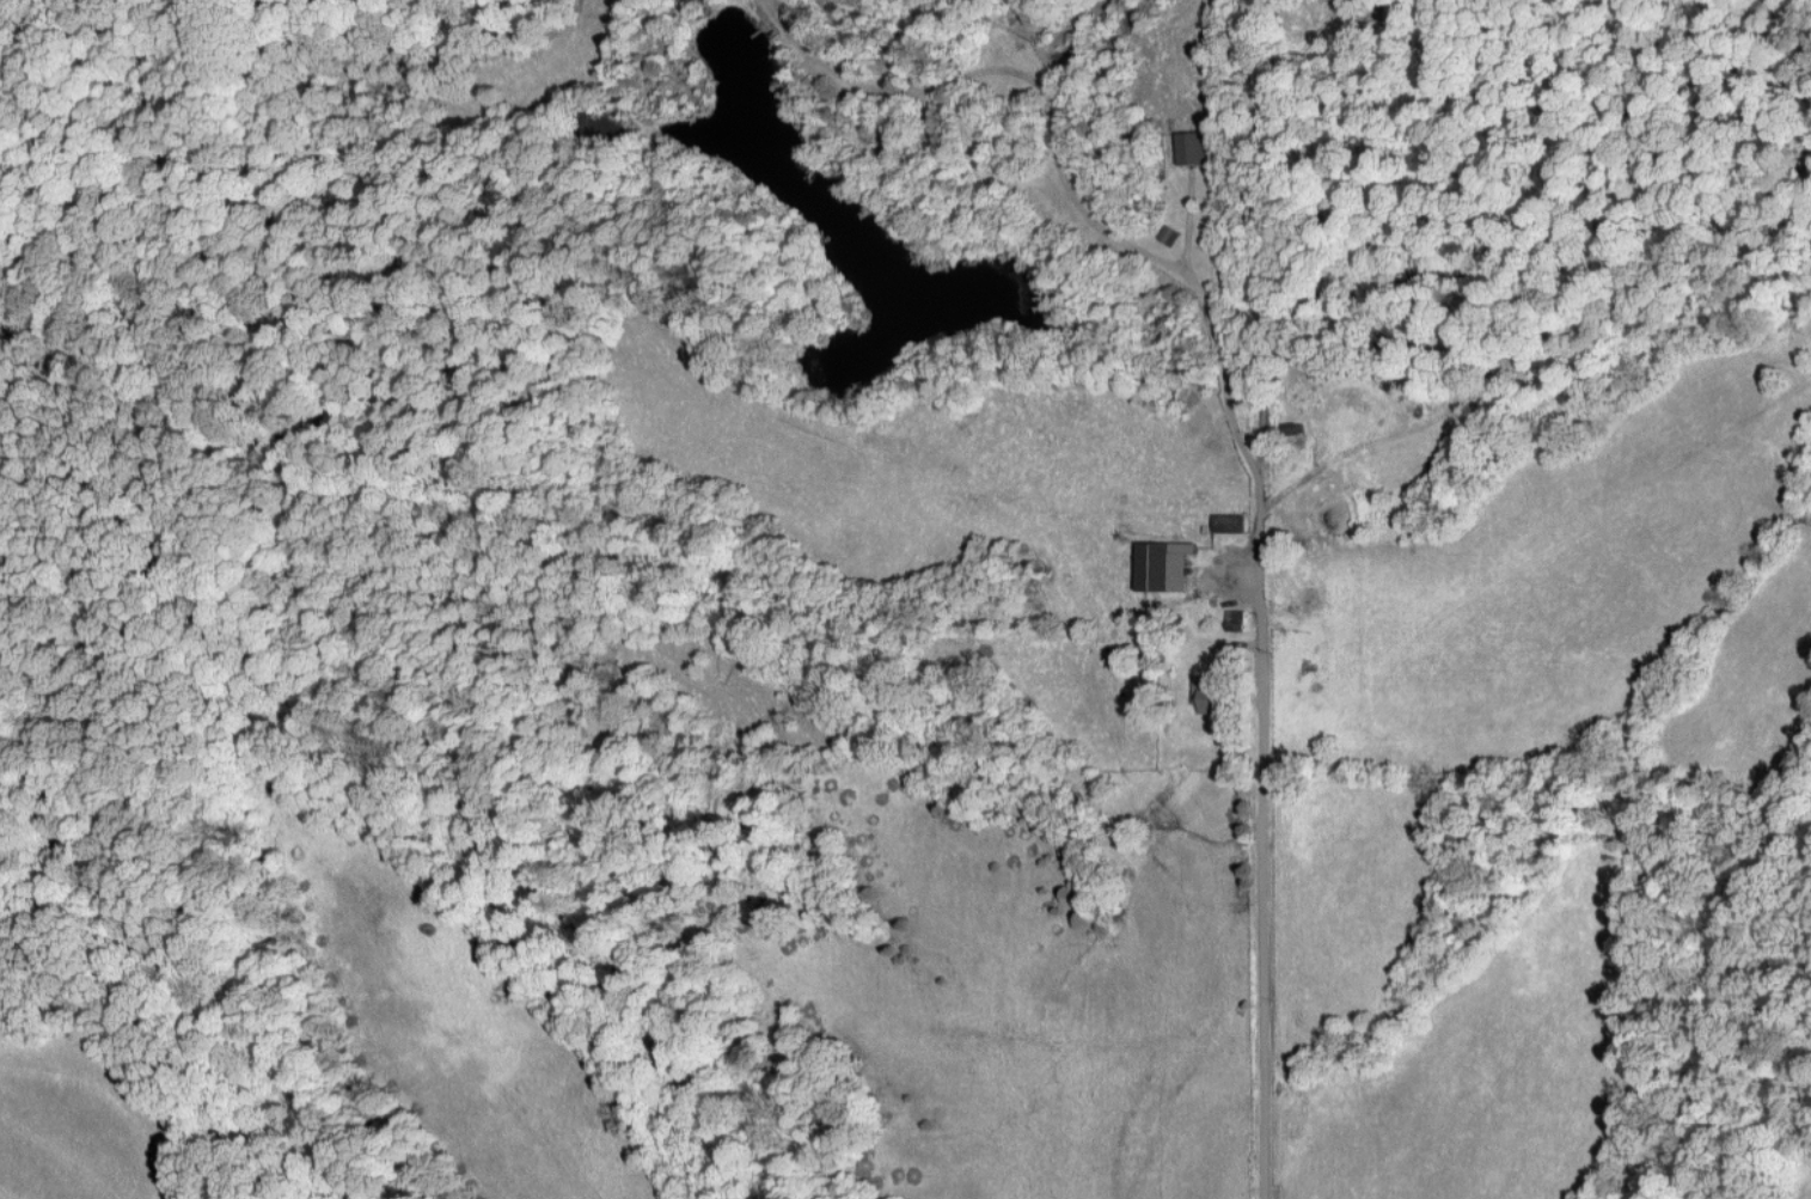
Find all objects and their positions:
building: (1188, 146)
building: (1160, 565)
road: (1261, 850)

